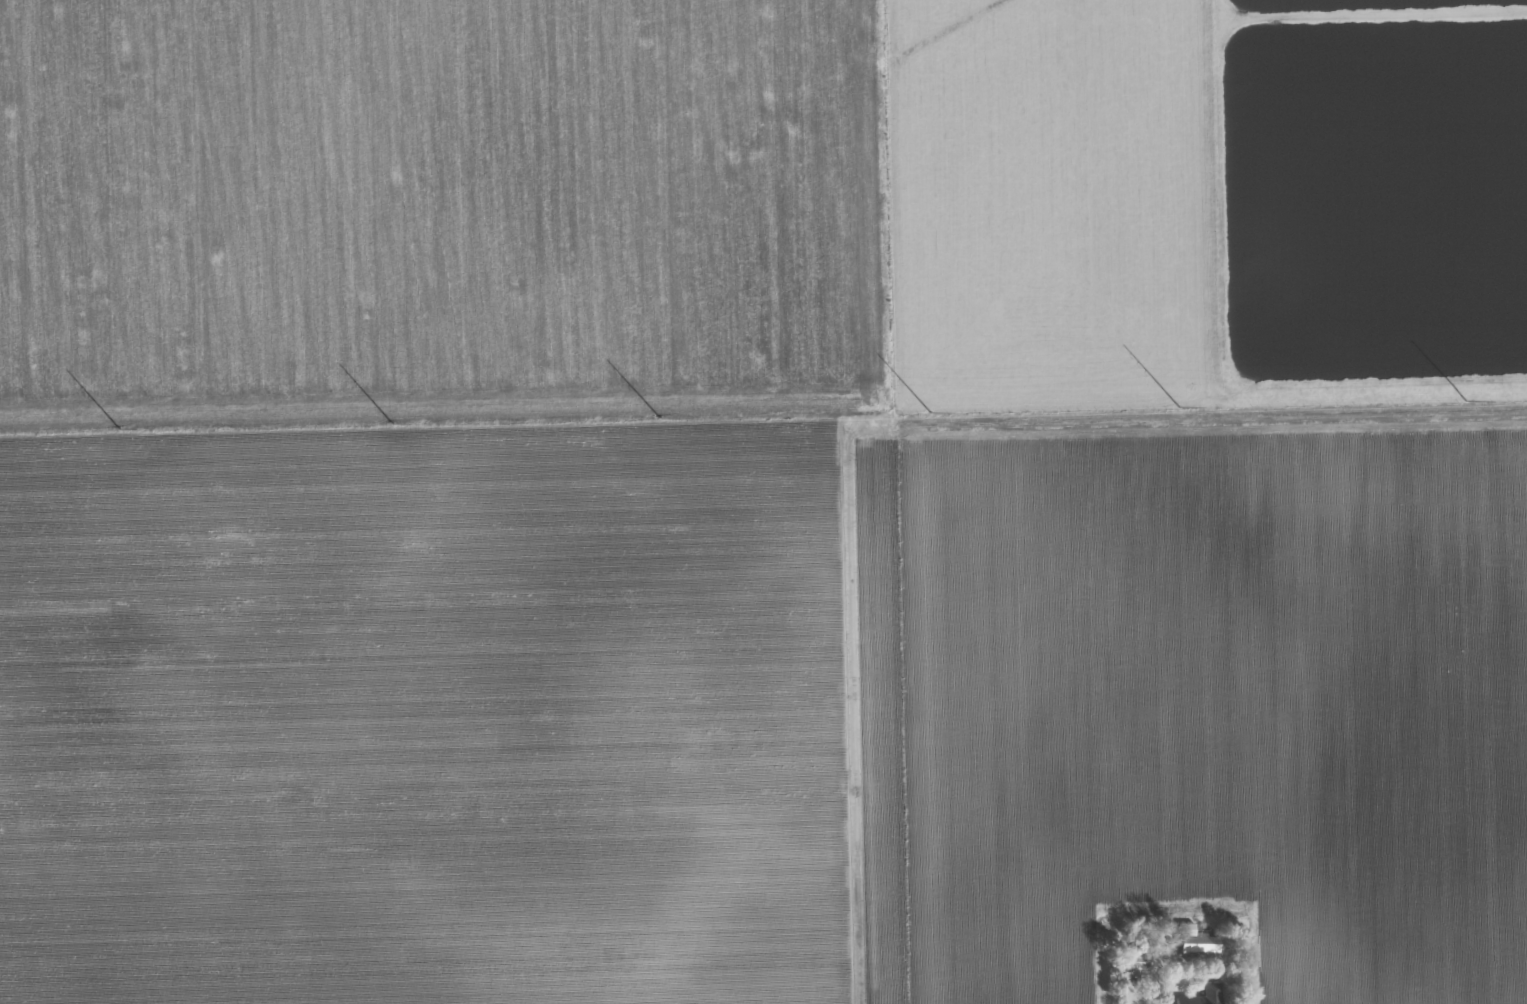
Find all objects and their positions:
building: (1198, 941)
building: (1204, 996)
road: (1156, 999)

